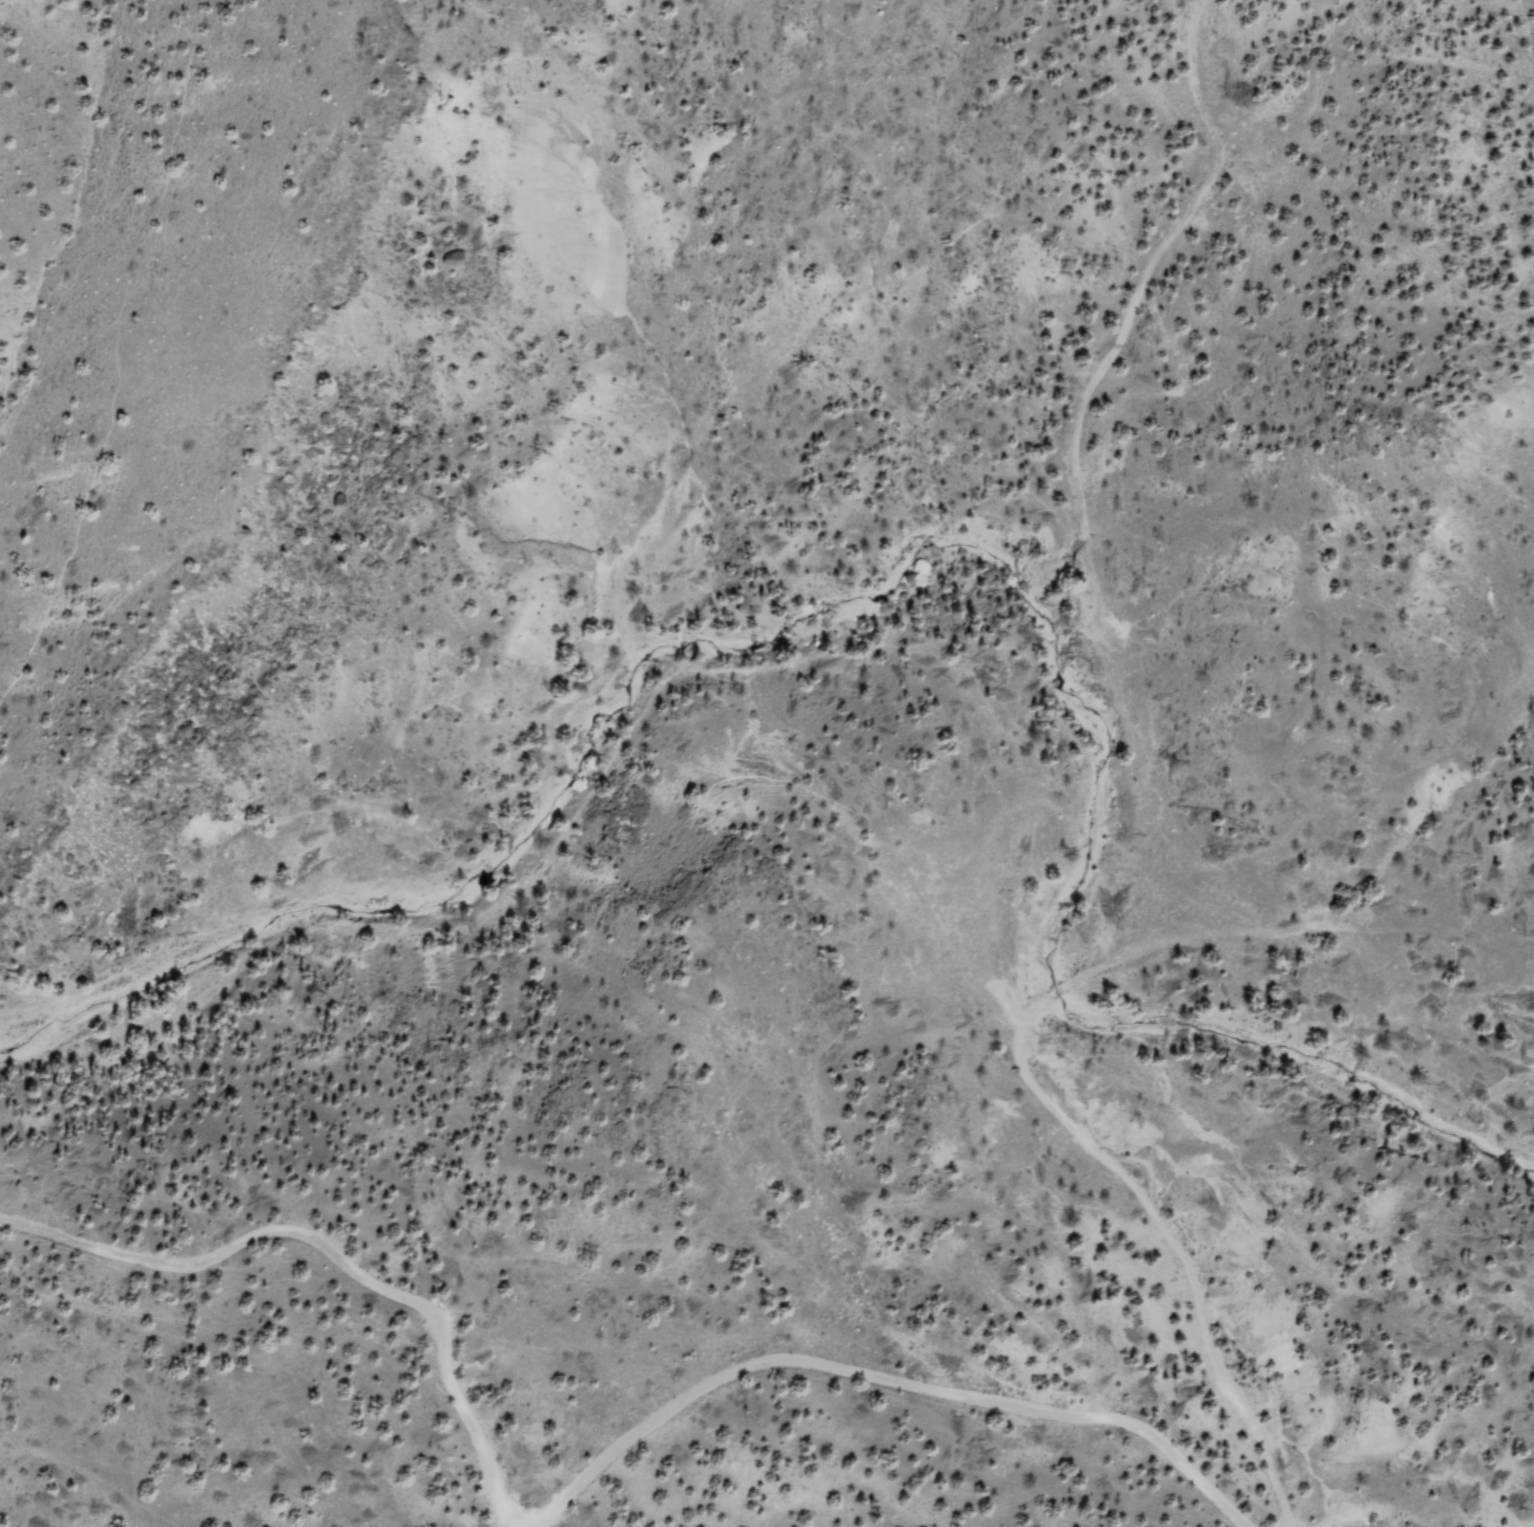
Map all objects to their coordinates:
road: (331, 1246)
road: (887, 1352)

